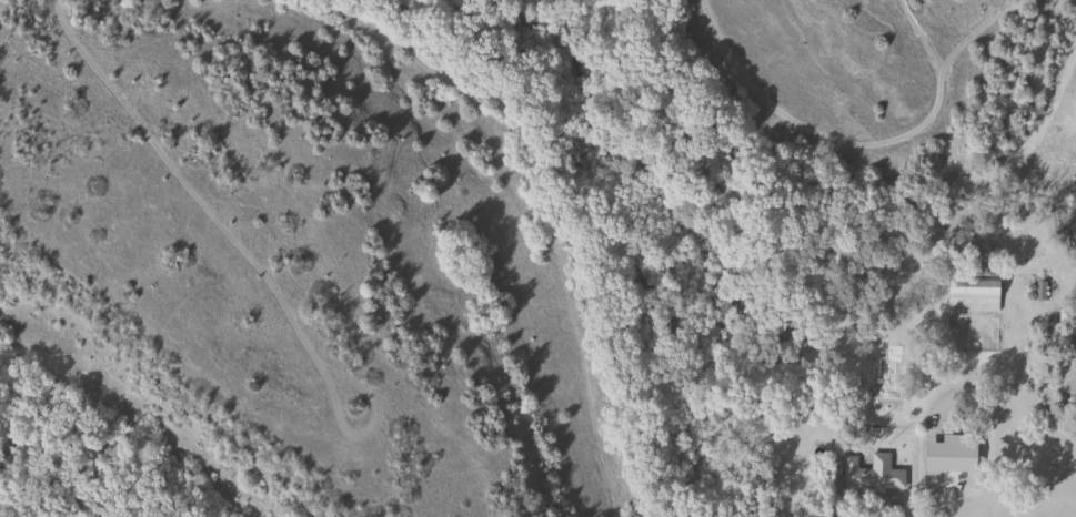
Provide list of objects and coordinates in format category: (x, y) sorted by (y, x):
road: (899, 273)
building: (971, 291)
road: (994, 475)
building: (868, 479)

